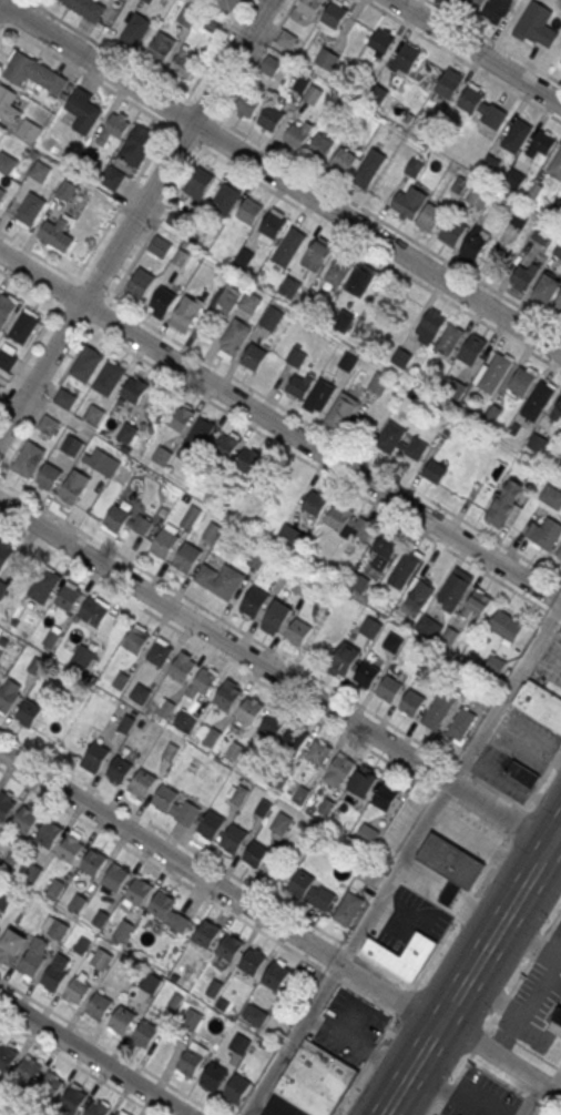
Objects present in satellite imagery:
road: (0, 0)
building: (147, 1)
building: (227, 3)
building: (473, 3)
building: (309, 7)
building: (85, 9)
building: (497, 9)
building: (334, 12)
road: (11, 19)
building: (537, 26)
building: (135, 29)
building: (553, 38)
building: (286, 39)
building: (380, 40)
road: (494, 40)
building: (161, 47)
road: (479, 50)
building: (405, 57)
building: (327, 58)
road: (462, 60)
building: (271, 64)
building: (33, 73)
building: (299, 82)
building: (449, 83)
building: (377, 93)
building: (314, 94)
building: (8, 104)
building: (247, 104)
building: (481, 104)
building: (84, 110)
building: (271, 116)
building: (113, 126)
building: (28, 130)
building: (297, 132)
building: (1, 134)
building: (516, 134)
building: (540, 143)
building: (136, 144)
building: (53, 146)
building: (319, 149)
building: (6, 161)
building: (341, 162)
building: (490, 163)
building: (555, 164)
road: (294, 165)
building: (414, 166)
building: (368, 168)
building: (40, 171)
road: (279, 175)
building: (112, 178)
building: (514, 178)
building: (198, 182)
building: (460, 184)
building: (534, 190)
building: (1, 192)
road: (280, 195)
building: (478, 196)
building: (225, 199)
road: (123, 200)
building: (412, 202)
building: (557, 205)
building: (29, 210)
building: (249, 210)
building: (430, 216)
building: (519, 217)
building: (176, 219)
road: (135, 220)
building: (273, 224)
building: (452, 232)
building: (542, 232)
building: (57, 234)
road: (146, 239)
building: (159, 244)
building: (289, 245)
building: (473, 246)
building: (558, 250)
building: (315, 254)
building: (244, 256)
building: (338, 268)
building: (523, 276)
building: (359, 280)
building: (140, 283)
building: (288, 286)
building: (547, 288)
building: (229, 294)
building: (162, 301)
building: (249, 301)
building: (557, 304)
building: (7, 312)
building: (186, 312)
building: (272, 317)
building: (344, 318)
building: (430, 325)
building: (24, 330)
building: (235, 336)
building: (448, 337)
building: (472, 347)
building: (296, 355)
building: (401, 356)
building: (6, 358)
building: (254, 358)
building: (348, 361)
building: (86, 364)
building: (494, 372)
building: (109, 377)
building: (522, 379)
building: (378, 383)
building: (0, 384)
building: (299, 384)
building: (134, 388)
building: (320, 394)
building: (64, 397)
building: (538, 399)
road: (279, 405)
building: (343, 407)
building: (557, 410)
building: (492, 413)
building: (93, 414)
building: (181, 416)
building: (48, 424)
road: (279, 425)
building: (516, 428)
building: (129, 432)
building: (200, 432)
building: (401, 440)
building: (537, 440)
building: (72, 444)
building: (225, 444)
road: (279, 444)
building: (559, 449)
building: (162, 455)
building: (28, 458)
building: (249, 460)
building: (104, 462)
building: (435, 469)
building: (49, 475)
building: (73, 486)
building: (551, 496)
building: (316, 500)
building: (502, 506)
building: (191, 517)
building: (125, 521)
building: (349, 521)
building: (212, 533)
building: (544, 534)
building: (295, 540)
building: (164, 541)
building: (4, 551)
building: (384, 551)
building: (559, 554)
building: (187, 556)
building: (256, 559)
building: (404, 569)
building: (220, 578)
building: (359, 581)
building: (43, 585)
building: (303, 585)
building: (2, 587)
building: (455, 587)
building: (68, 596)
building: (326, 598)
building: (418, 598)
building: (254, 600)
building: (479, 601)
building: (93, 611)
building: (275, 617)
building: (14, 621)
building: (427, 625)
building: (506, 625)
building: (370, 627)
building: (297, 631)
building: (51, 638)
building: (136, 639)
building: (3, 640)
building: (392, 641)
road: (262, 643)
building: (160, 651)
building: (83, 655)
building: (344, 659)
parking lot: (549, 662)
building: (182, 666)
building: (366, 673)
road: (254, 676)
road: (278, 677)
building: (204, 679)
building: (389, 688)
building: (140, 692)
building: (9, 693)
building: (227, 695)
building: (412, 701)
building: (540, 703)
building: (438, 709)
building: (249, 710)
building: (28, 712)
building: (185, 721)
building: (461, 722)
building: (272, 724)
parking lot: (526, 738)
building: (294, 739)
building: (70, 744)
building: (317, 751)
building: (95, 756)
building: (119, 769)
building: (337, 770)
parking lot: (500, 772)
building: (522, 773)
building: (142, 782)
building: (363, 782)
building: (237, 792)
building: (385, 795)
building: (6, 804)
building: (173, 804)
building: (25, 819)
building: (282, 822)
building: (211, 824)
building: (49, 833)
building: (367, 834)
building: (234, 838)
building: (71, 849)
building: (256, 852)
road: (206, 858)
building: (450, 859)
road: (402, 860)
building: (93, 861)
building: (368, 873)
building: (32, 874)
building: (115, 876)
building: (54, 889)
building: (310, 890)
building: (139, 891)
road: (197, 891)
building: (450, 893)
building: (6, 899)
building: (78, 903)
building: (162, 903)
building: (348, 908)
building: (101, 918)
parking lot: (408, 919)
road: (279, 922)
building: (59, 930)
building: (123, 930)
road: (448, 931)
building: (207, 933)
building: (11, 945)
building: (82, 945)
building: (231, 945)
building: (402, 954)
building: (33, 957)
building: (102, 959)
building: (253, 960)
road: (471, 970)
road: (523, 970)
building: (54, 972)
building: (275, 975)
building: (151, 982)
building: (76, 992)
building: (99, 1006)
building: (256, 1015)
building: (192, 1018)
building: (122, 1020)
building: (557, 1020)
parking lot: (348, 1025)
building: (145, 1033)
road: (480, 1041)
road: (111, 1046)
road: (526, 1046)
building: (7, 1055)
road: (91, 1057)
building: (190, 1062)
road: (80, 1065)
building: (28, 1071)
building: (213, 1076)
building: (315, 1078)
road: (453, 1083)
building: (49, 1085)
road: (513, 1085)
building: (236, 1088)
road: (541, 1092)
building: (72, 1099)
parking lot: (280, 1106)
building: (96, 1108)
building: (118, 1114)

